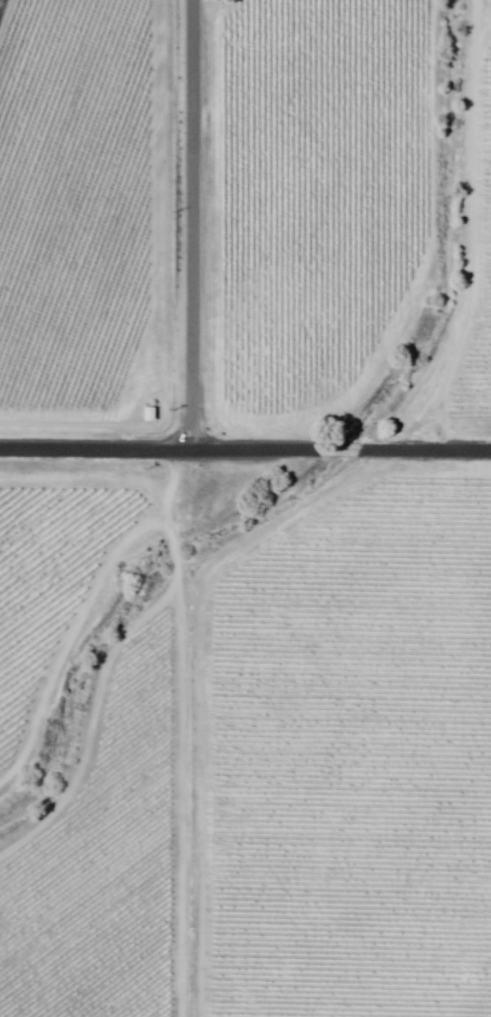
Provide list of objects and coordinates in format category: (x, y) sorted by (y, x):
road: (190, 224)
road: (163, 447)
road: (344, 450)
road: (427, 451)

